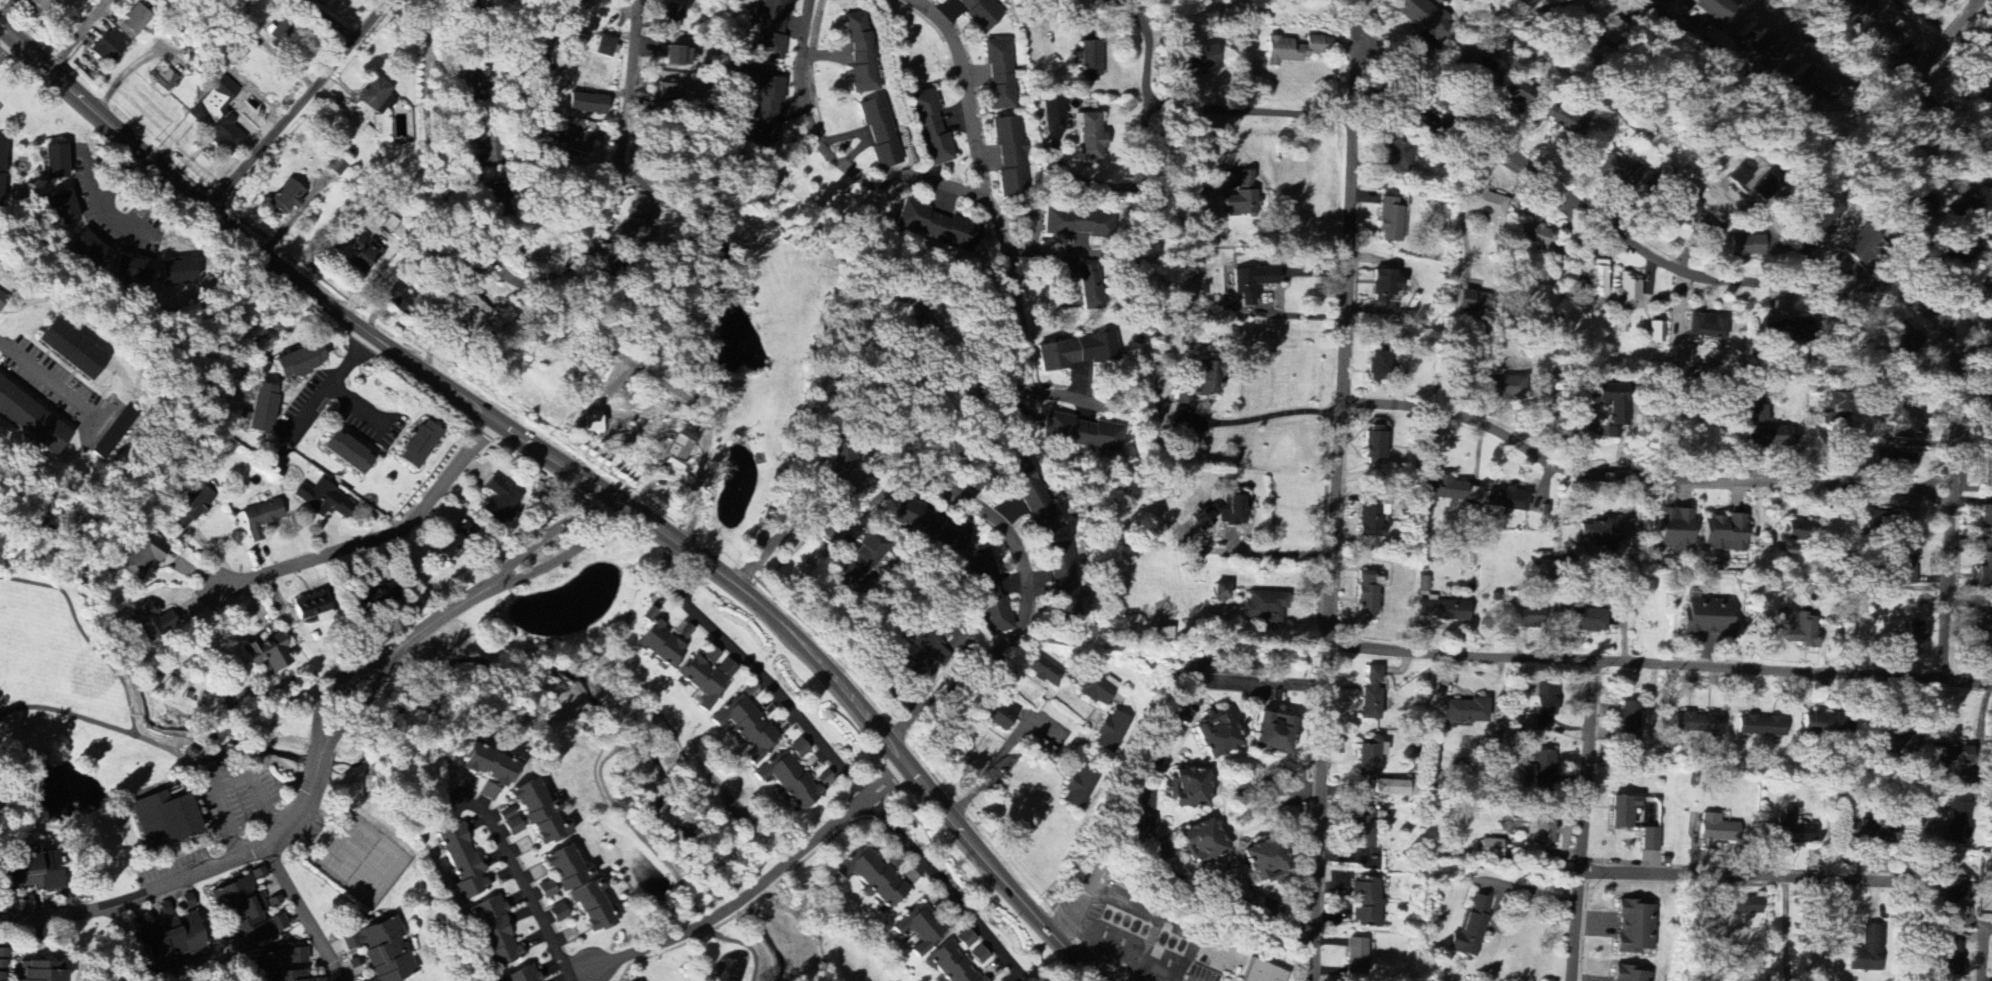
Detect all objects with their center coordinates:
building: (312, 0)
building: (1938, 0)
road: (1826, 1)
building: (39, 4)
building: (1531, 4)
building: (1713, 9)
building: (979, 13)
building: (671, 16)
building: (1425, 18)
building: (133, 22)
building: (1605, 24)
road: (1355, 26)
building: (771, 29)
road: (79, 35)
road: (1948, 41)
building: (1760, 44)
building: (604, 46)
building: (107, 47)
road: (7, 48)
building: (1295, 50)
building: (861, 54)
building: (675, 58)
building: (1196, 59)
building: (1090, 62)
building: (1477, 68)
building: (475, 72)
building: (999, 74)
building: (161, 78)
road: (1911, 80)
building: (1813, 86)
road: (963, 89)
building: (670, 91)
building: (378, 93)
building: (1518, 94)
road: (428, 96)
road: (1195, 103)
road: (301, 105)
building: (586, 105)
building: (1053, 109)
building: (766, 112)
building: (217, 117)
building: (1563, 120)
building: (403, 127)
building: (929, 128)
building: (880, 133)
building: (1090, 135)
building: (1399, 155)
road: (830, 156)
building: (1010, 157)
building: (54, 159)
building: (0, 160)
road: (616, 163)
building: (1626, 177)
building: (1752, 184)
road: (1139, 187)
road: (104, 196)
building: (1241, 197)
building: (285, 198)
building: (1959, 202)
building: (1486, 203)
building: (1690, 206)
building: (61, 207)
building: (1921, 211)
building: (1824, 216)
building: (1391, 219)
building: (635, 223)
building: (1077, 224)
building: (937, 227)
building: (1533, 235)
road: (1621, 236)
building: (1861, 242)
building: (1748, 245)
road: (1789, 247)
building: (86, 248)
road: (1048, 253)
building: (364, 255)
building: (129, 270)
building: (176, 272)
building: (1595, 279)
road: (1929, 279)
building: (1252, 283)
building: (1086, 284)
building: (1626, 292)
building: (2, 300)
road: (559, 302)
building: (1471, 305)
building: (474, 318)
building: (1707, 327)
building: (1655, 332)
building: (1785, 332)
building: (1907, 338)
building: (71, 350)
road: (1028, 351)
building: (1077, 351)
building: (298, 361)
building: (1378, 366)
building: (1203, 381)
road: (48, 383)
road: (328, 385)
building: (1500, 388)
building: (1613, 402)
building: (1837, 402)
road: (1062, 403)
road: (355, 406)
building: (261, 408)
road: (739, 410)
road: (1267, 415)
building: (1908, 419)
building: (31, 420)
building: (592, 422)
building: (1765, 430)
building: (1082, 433)
building: (1374, 442)
building: (417, 445)
building: (346, 453)
building: (677, 453)
building: (1895, 460)
road: (573, 474)
road: (1640, 479)
building: (1447, 489)
building: (1032, 498)
building: (324, 500)
building: (1506, 500)
building: (498, 501)
road: (773, 504)
building: (191, 508)
building: (1494, 511)
road: (985, 512)
building: (1223, 512)
road: (1334, 515)
building: (1986, 516)
building: (1370, 518)
building: (260, 519)
building: (1882, 523)
building: (929, 525)
building: (1674, 530)
building: (1800, 532)
building: (1599, 533)
building: (1724, 533)
road: (376, 539)
road: (539, 541)
road: (1273, 555)
building: (141, 556)
road: (556, 559)
building: (857, 565)
building: (1905, 569)
building: (1985, 574)
building: (1062, 582)
building: (987, 593)
building: (1220, 593)
building: (1367, 596)
building: (309, 606)
building: (1263, 608)
building: (1442, 611)
building: (1525, 617)
building: (1710, 618)
building: (1589, 620)
building: (153, 621)
building: (946, 622)
building: (1794, 628)
building: (1163, 633)
building: (1914, 639)
building: (661, 646)
building: (267, 653)
building: (919, 654)
building: (710, 656)
road: (373, 663)
road: (1660, 666)
building: (1043, 671)
building: (706, 679)
building: (1094, 688)
road: (774, 690)
building: (1371, 695)
building: (1544, 707)
building: (1464, 711)
building: (1000, 714)
building: (1698, 723)
building: (1824, 723)
building: (1628, 726)
building: (1761, 726)
building: (746, 728)
building: (1111, 733)
building: (1273, 733)
building: (1217, 735)
building: (1897, 742)
building: (799, 749)
road: (1004, 755)
building: (1951, 757)
building: (1370, 758)
building: (489, 766)
building: (1542, 768)
building: (789, 781)
building: (1391, 788)
building: (1079, 789)
building: (1187, 789)
road: (1150, 790)
building: (488, 793)
building: (1622, 812)
building: (539, 813)
building: (1132, 815)
building: (163, 820)
road: (1583, 821)
building: (510, 822)
building: (1958, 822)
building: (1363, 830)
building: (1717, 830)
building: (1790, 831)
building: (1541, 832)
building: (1873, 833)
building: (1650, 840)
building: (1202, 843)
building: (1491, 849)
road: (248, 861)
building: (1264, 862)
building: (462, 863)
building: (26, 868)
building: (566, 868)
road: (515, 877)
building: (873, 877)
road: (1735, 879)
building: (546, 890)
road: (947, 891)
building: (1950, 891)
road: (750, 892)
building: (1366, 903)
building: (1747, 906)
building: (592, 907)
building: (244, 914)
building: (557, 914)
road: (307, 915)
road: (1750, 917)
building: (1470, 928)
building: (1635, 928)
building: (920, 929)
road: (1784, 931)
building: (494, 933)
road: (1983, 938)
building: (965, 939)
building: (172, 941)
building: (383, 951)
building: (1869, 951)
building: (979, 955)
building: (1950, 955)
building: (1356, 959)
building: (3, 960)
building: (950, 964)
building: (277, 965)
building: (44, 971)
building: (1263, 972)
building: (522, 975)
building: (1628, 975)
building: (2, 977)
road: (568, 979)

